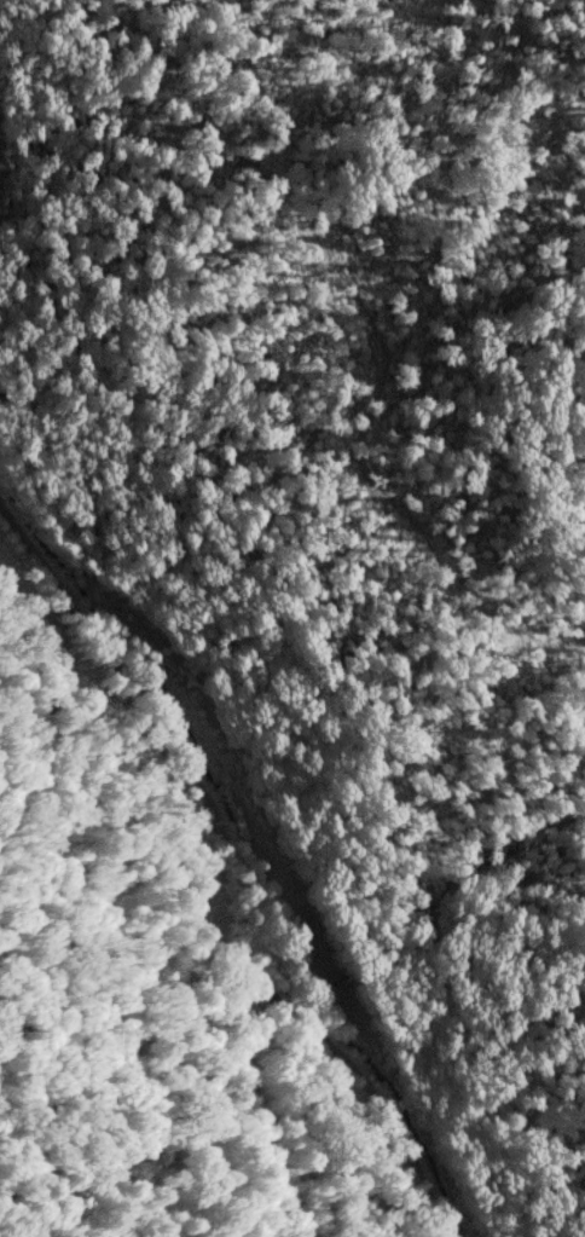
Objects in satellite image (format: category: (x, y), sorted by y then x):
road: (233, 868)

